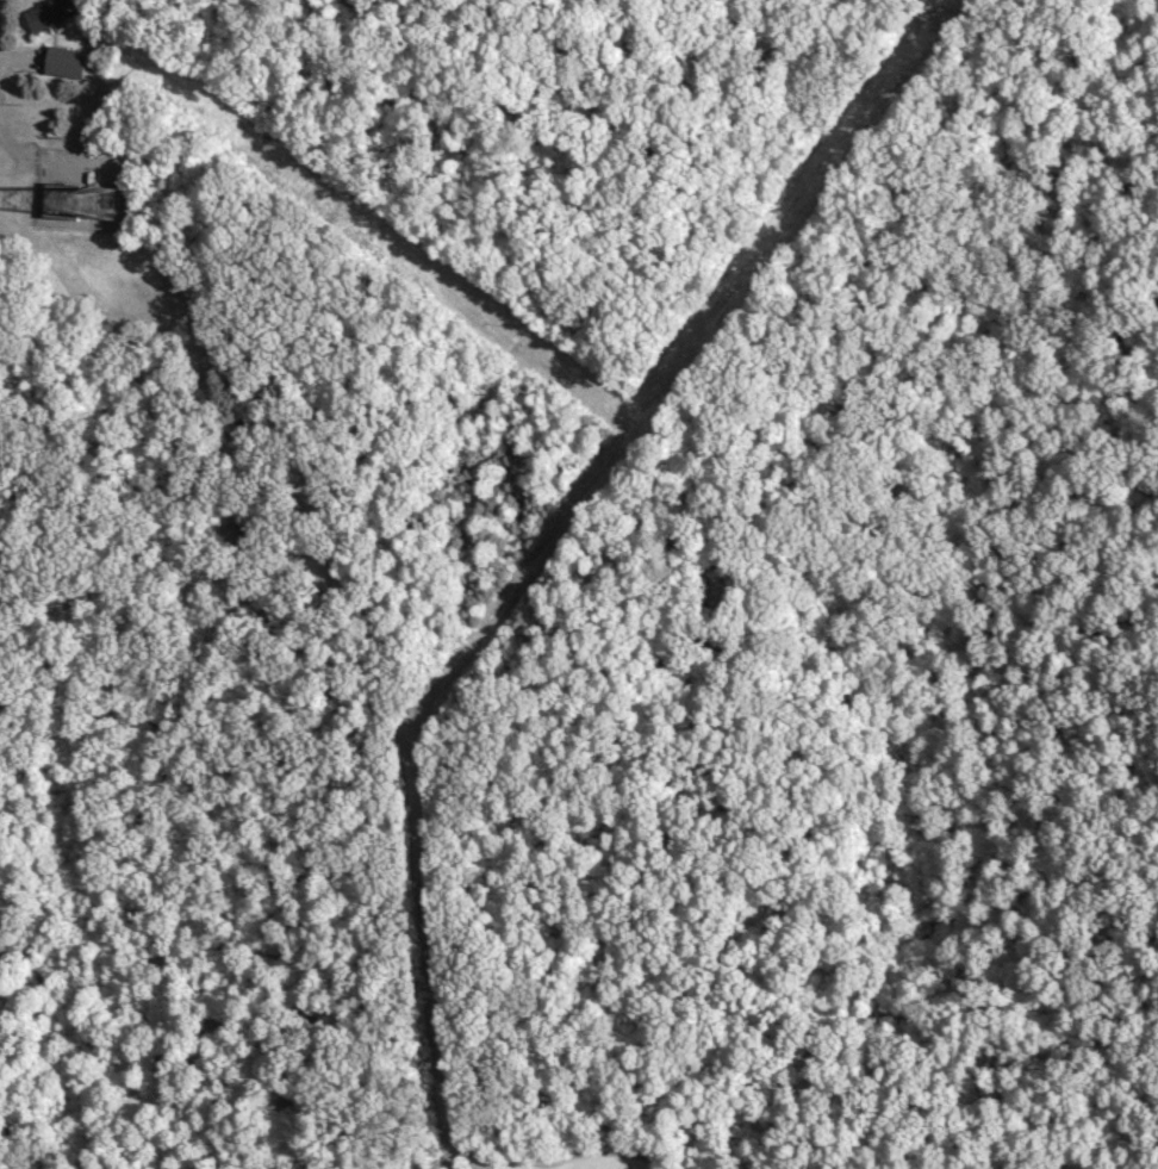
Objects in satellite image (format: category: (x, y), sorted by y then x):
building: (50, 14)
building: (68, 63)
building: (82, 189)
road: (313, 686)

